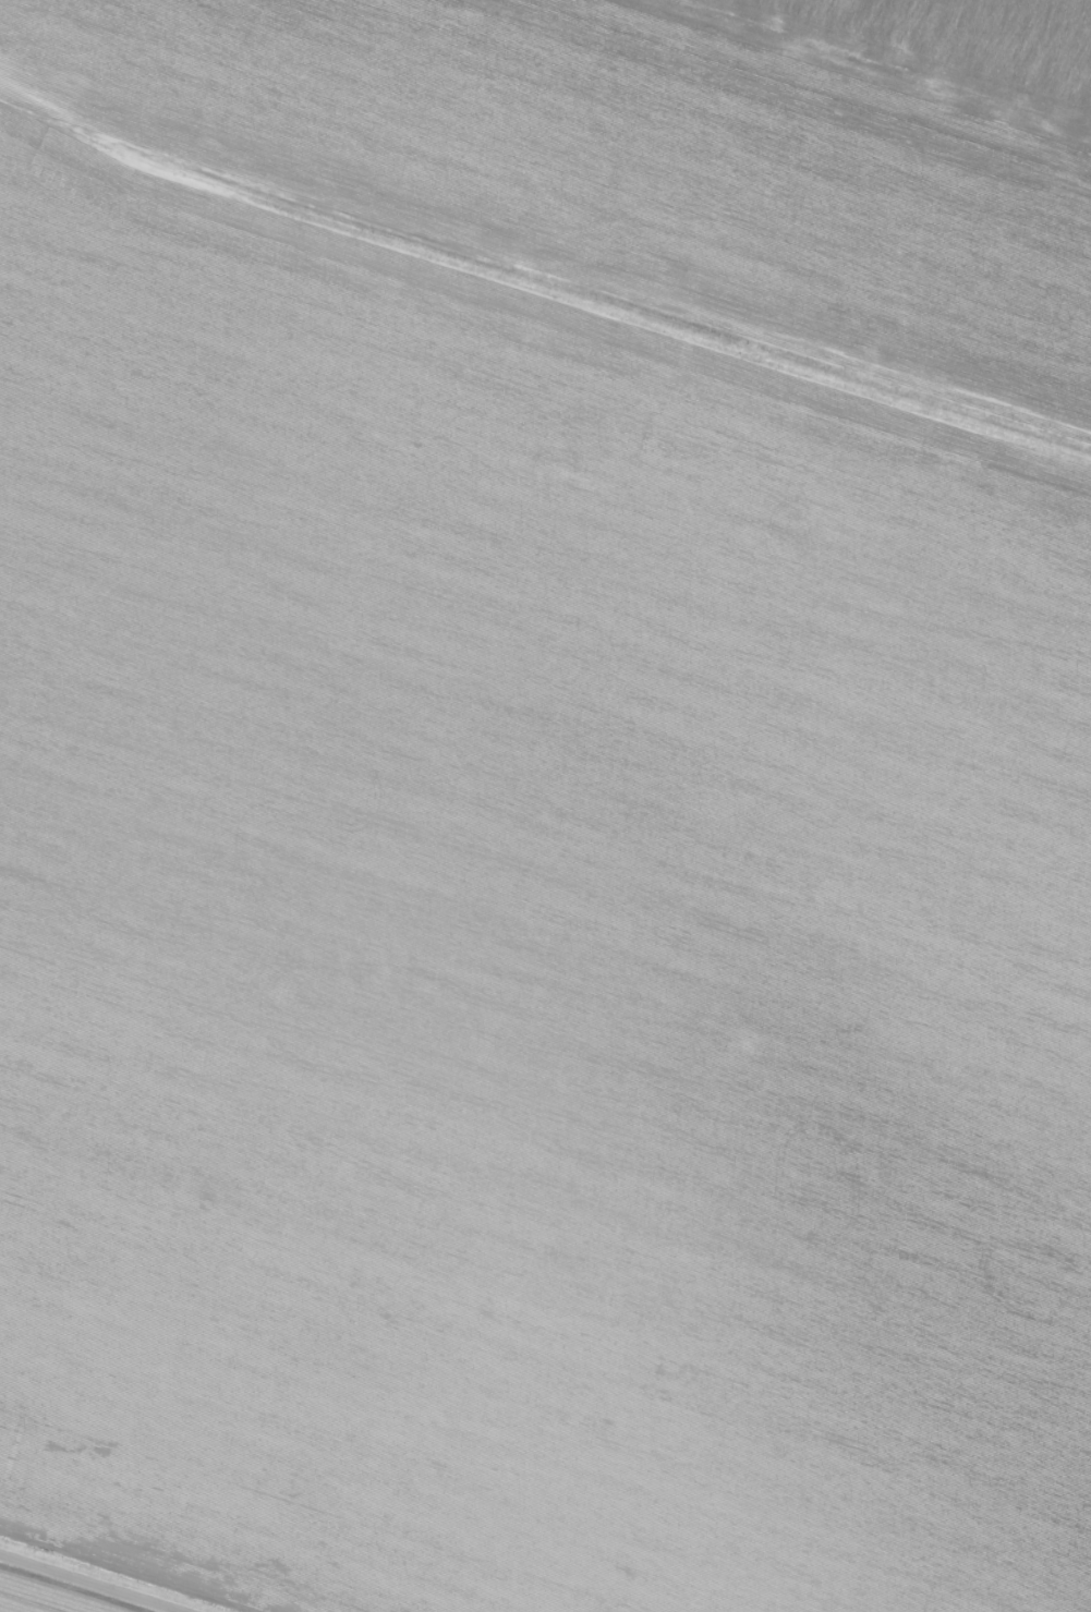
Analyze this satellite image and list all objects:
road: (120, 1574)

